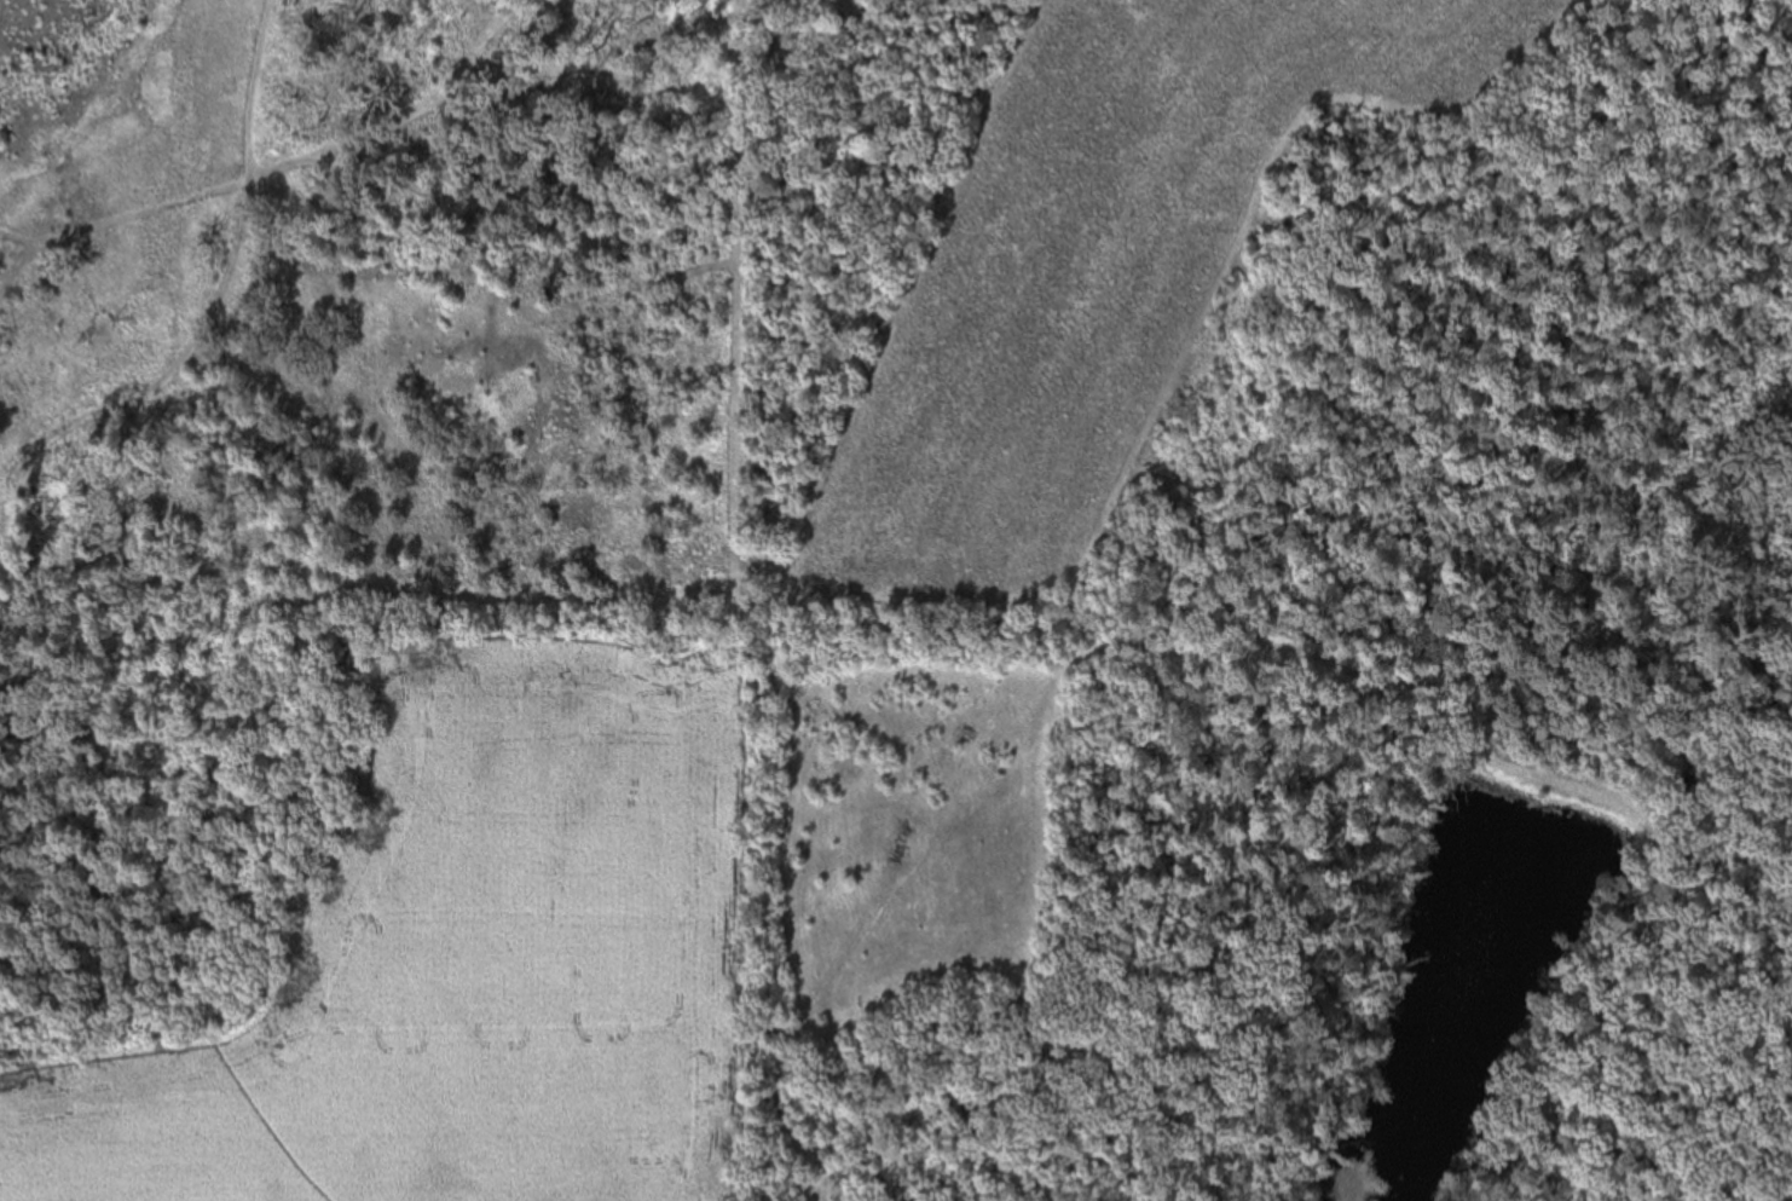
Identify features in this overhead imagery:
road: (1560, 784)

